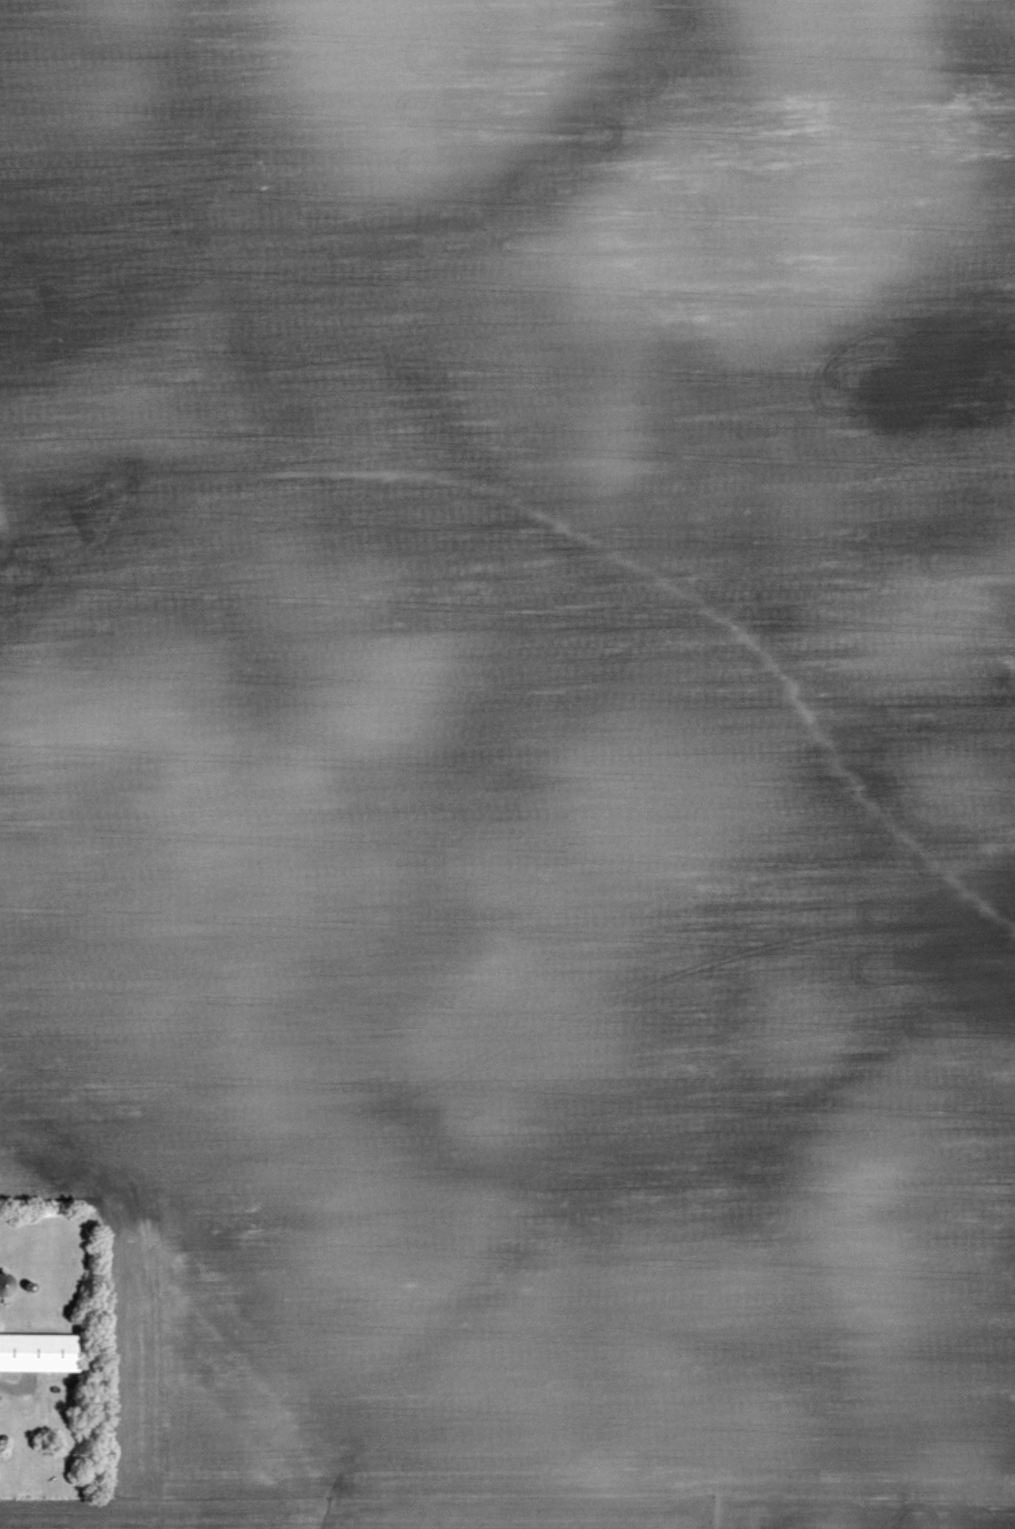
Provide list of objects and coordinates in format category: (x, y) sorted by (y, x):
building: (36, 1355)

